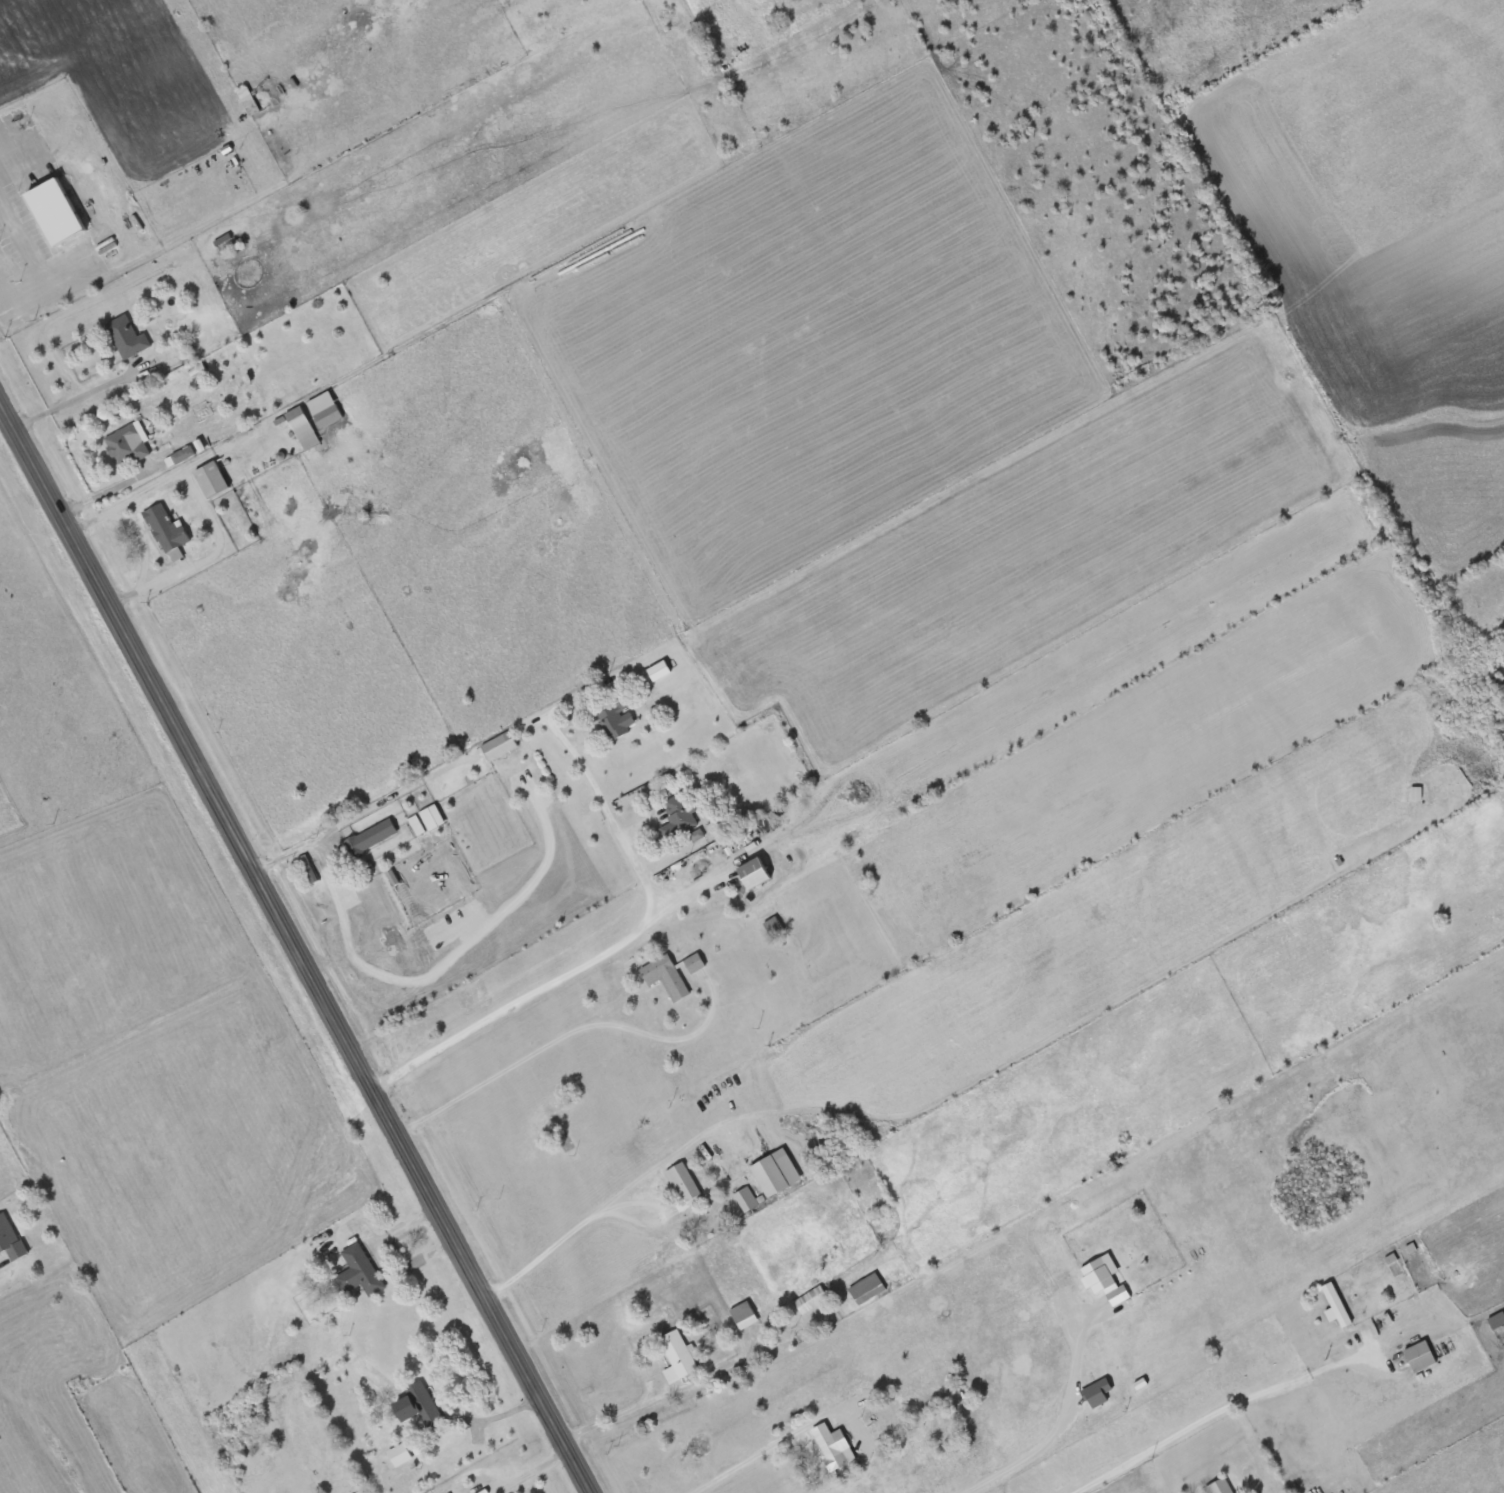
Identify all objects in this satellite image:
building: (58, 214)
building: (127, 338)
building: (329, 417)
building: (303, 429)
building: (128, 445)
building: (213, 481)
building: (167, 530)
building: (617, 720)
building: (500, 746)
road: (462, 764)
building: (433, 818)
building: (678, 818)
building: (372, 837)
building: (311, 873)
building: (756, 873)
road: (294, 950)
building: (695, 963)
building: (666, 977)
building: (777, 1173)
road: (914, 1181)
building: (684, 1186)
building: (746, 1200)
building: (10, 1239)
building: (360, 1272)
building: (868, 1289)
building: (811, 1299)
building: (1338, 1307)
building: (745, 1316)
building: (1498, 1321)
building: (679, 1357)
building: (1422, 1357)
road: (979, 1375)
building: (420, 1406)
building: (836, 1447)
building: (400, 1456)
building: (1221, 1487)
building: (362, 1492)

